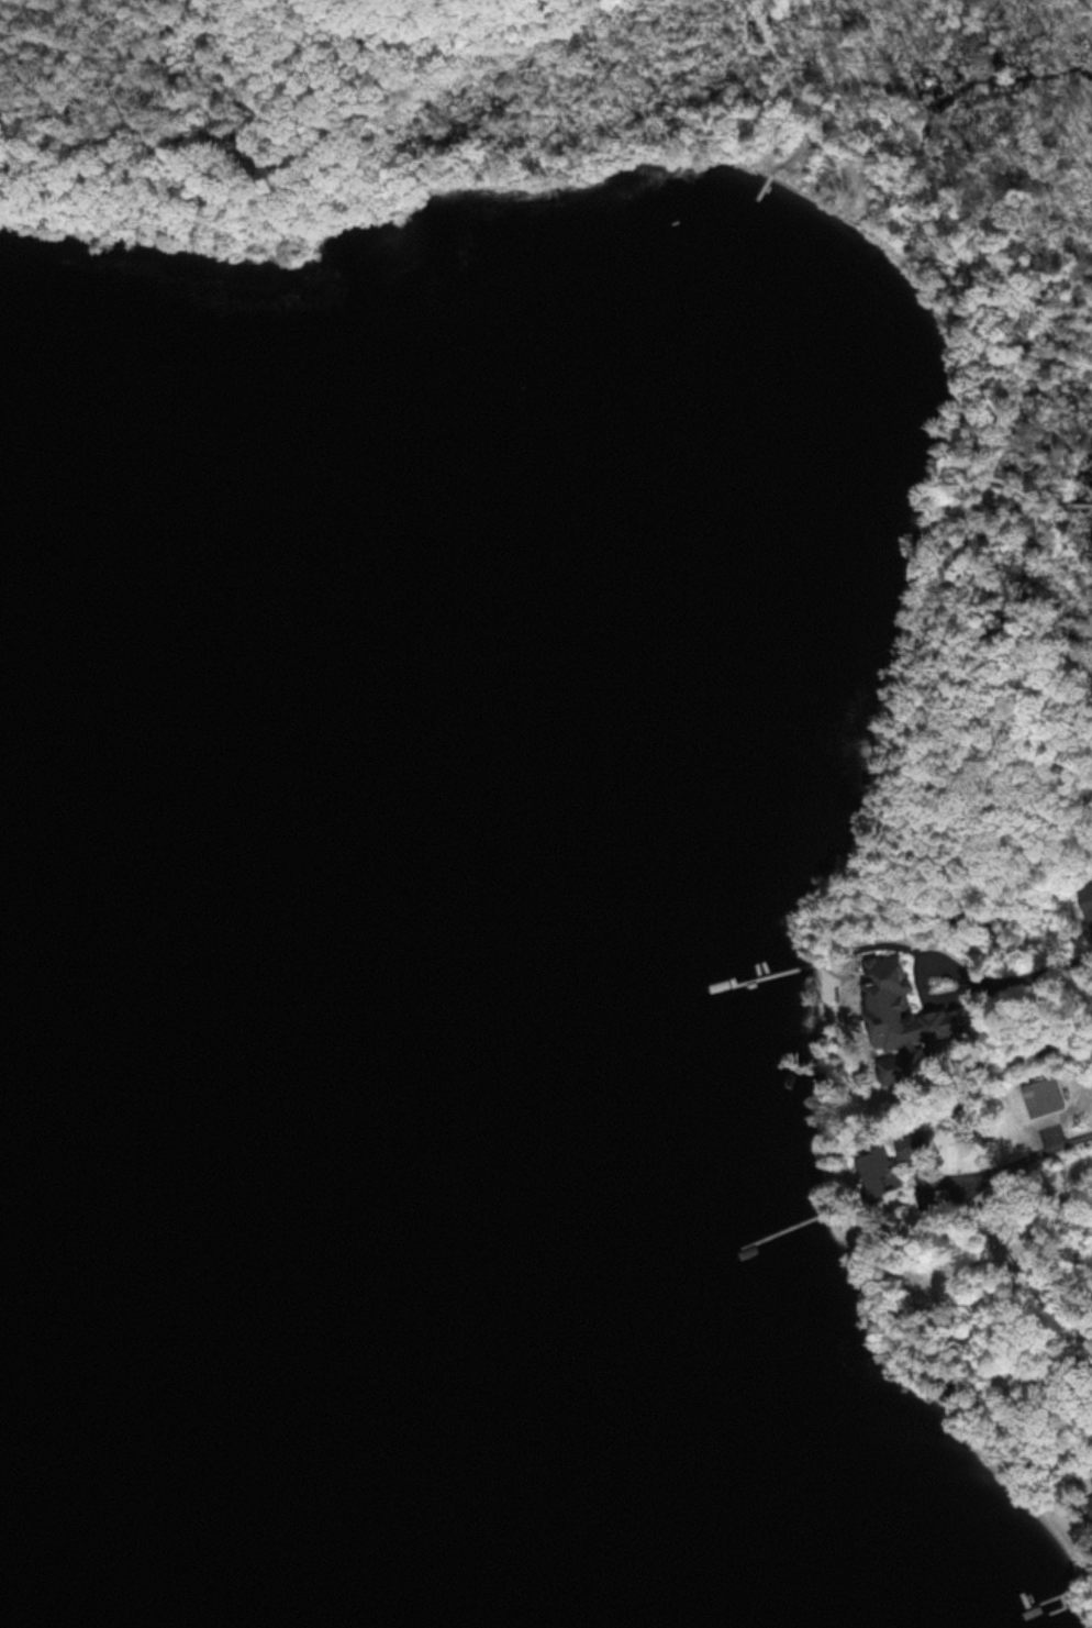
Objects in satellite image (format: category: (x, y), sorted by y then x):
road: (768, 38)
road: (821, 141)
road: (791, 148)
road: (903, 184)
pier: (770, 189)
road: (1013, 475)
pier: (1082, 490)
road: (937, 560)
building: (887, 1001)
building: (1040, 1095)
road: (1012, 1161)

